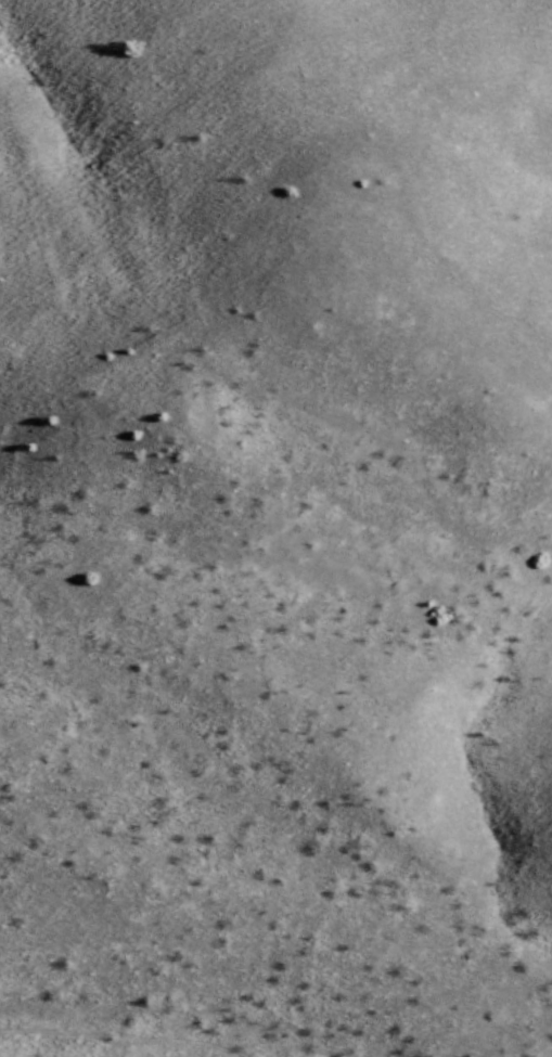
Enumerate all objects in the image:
road: (183, 1033)

